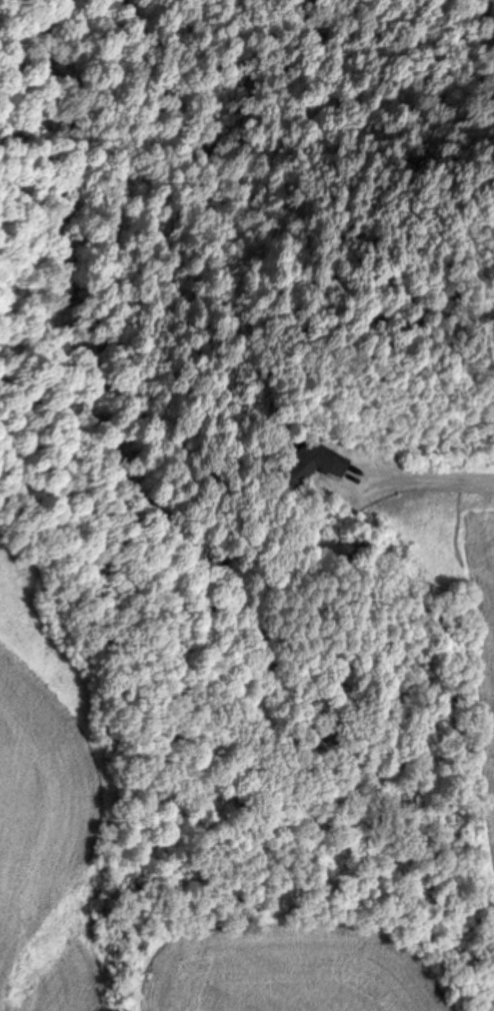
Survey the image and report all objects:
building: (310, 462)
road: (432, 478)

